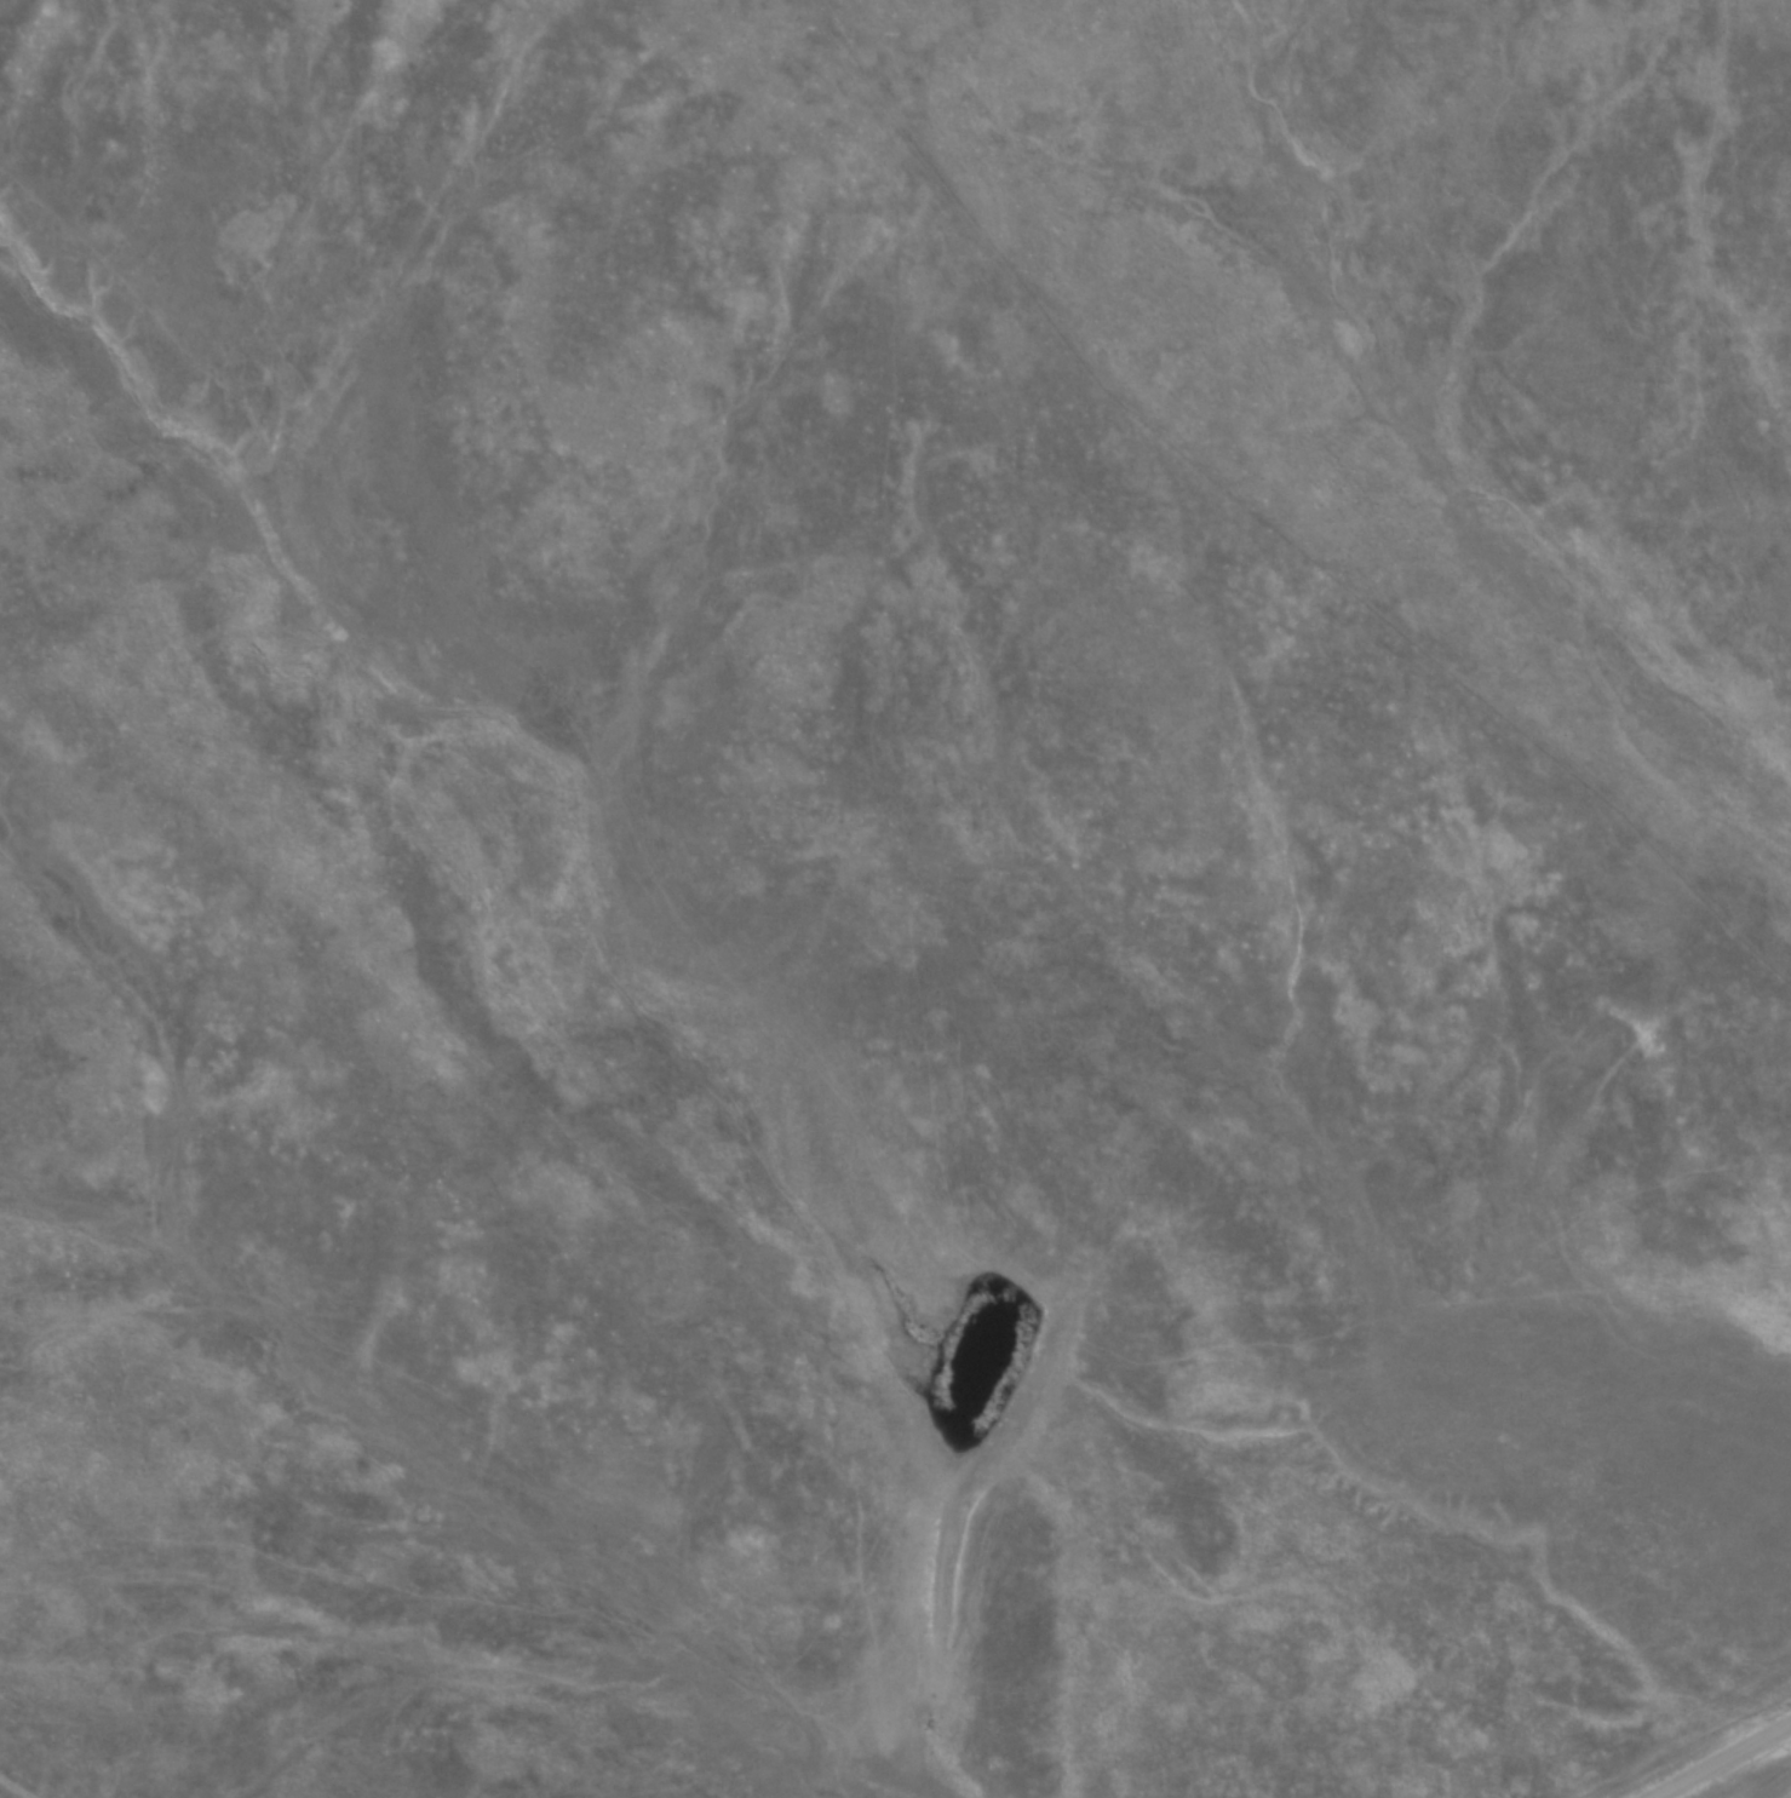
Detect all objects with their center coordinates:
road: (1724, 1762)

